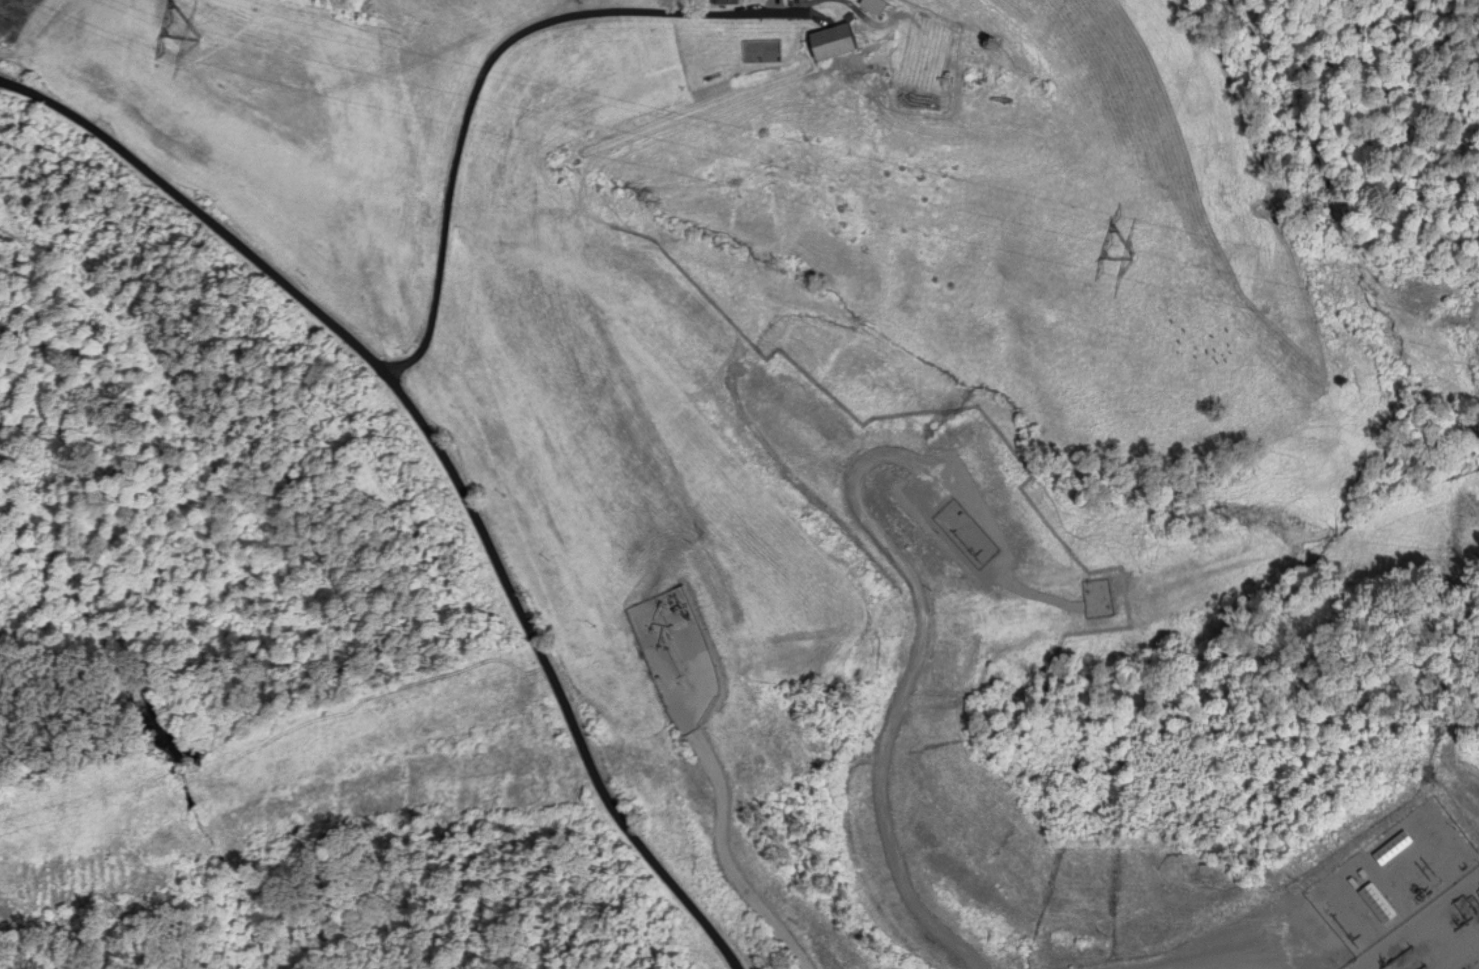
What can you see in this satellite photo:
building: (721, 2)
building: (871, 6)
power tower: (195, 42)
building: (826, 42)
road: (484, 65)
power tower: (1132, 258)
road: (445, 458)
road: (914, 578)
road: (714, 797)
road: (1301, 925)

